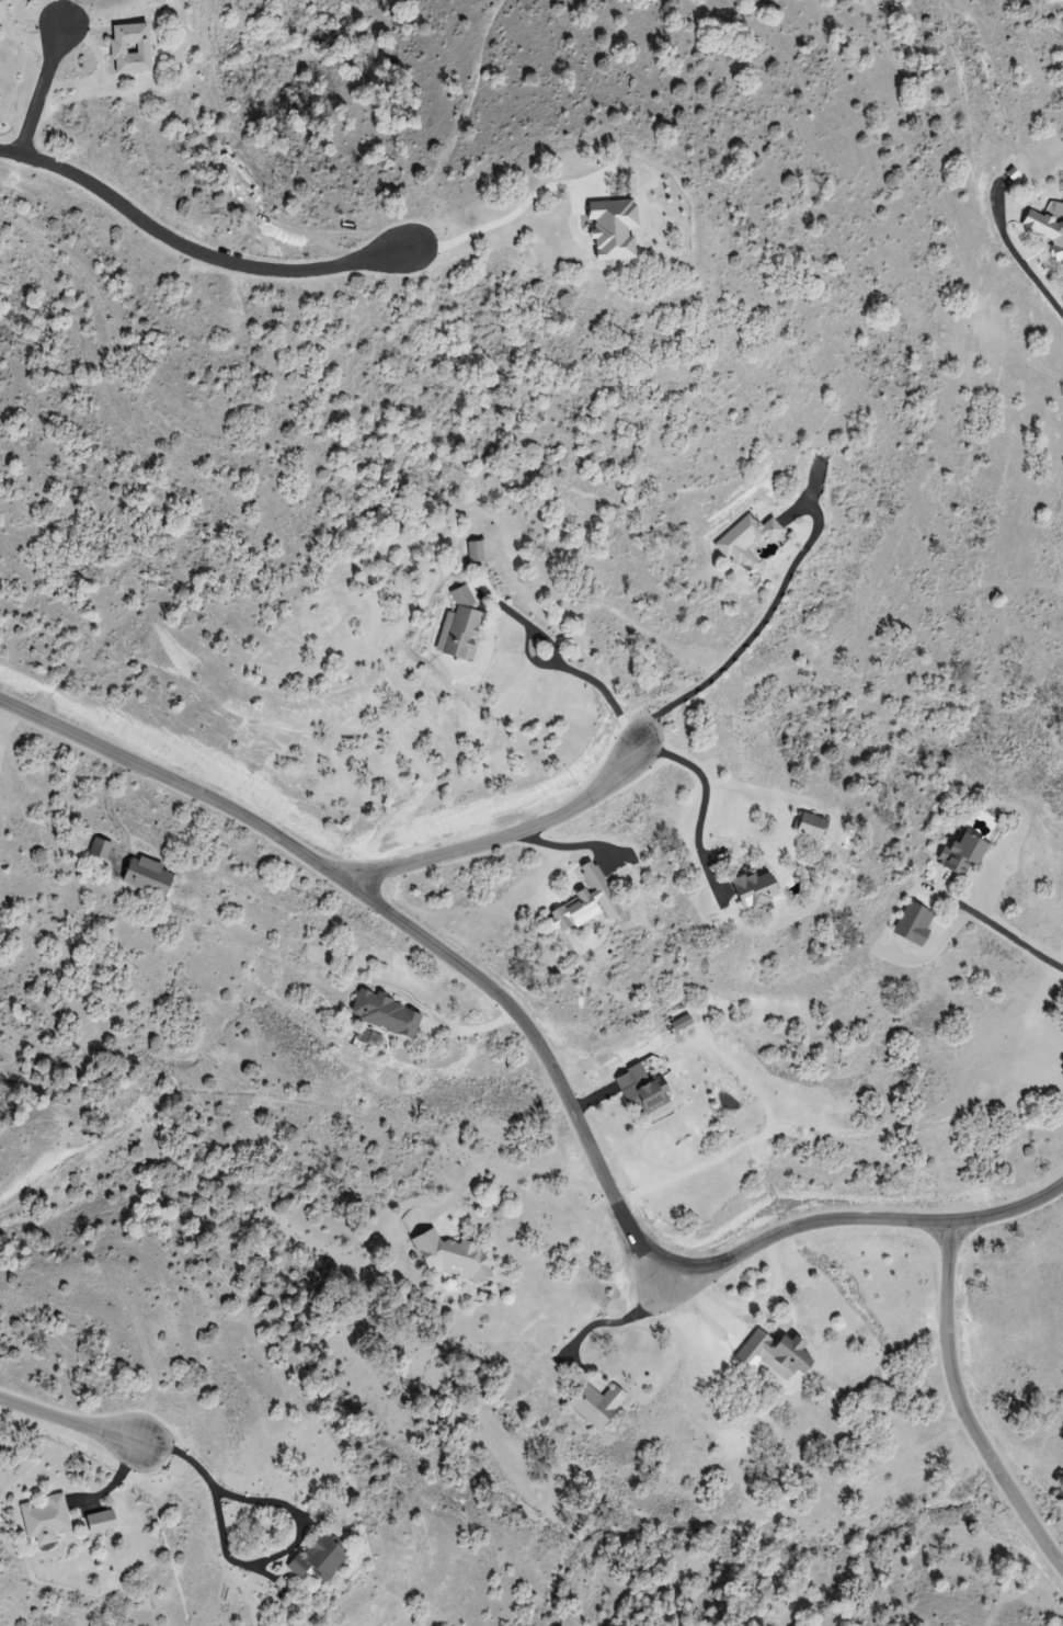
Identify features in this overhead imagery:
road: (28, 41)
building: (133, 50)
road: (54, 75)
building: (1051, 229)
road: (199, 250)
road: (1022, 262)
building: (750, 541)
building: (478, 550)
building: (461, 627)
road: (757, 629)
road: (580, 674)
road: (706, 795)
building: (811, 827)
road: (507, 830)
building: (102, 849)
building: (965, 853)
building: (149, 877)
building: (757, 888)
building: (388, 1014)
road: (546, 1058)
building: (647, 1092)
road: (517, 1168)
building: (455, 1258)
road: (665, 1277)
road: (609, 1323)
building: (782, 1354)
building: (599, 1405)
road: (968, 1412)
road: (76, 1425)
road: (197, 1466)
building: (47, 1521)
building: (103, 1522)
building: (322, 1558)

